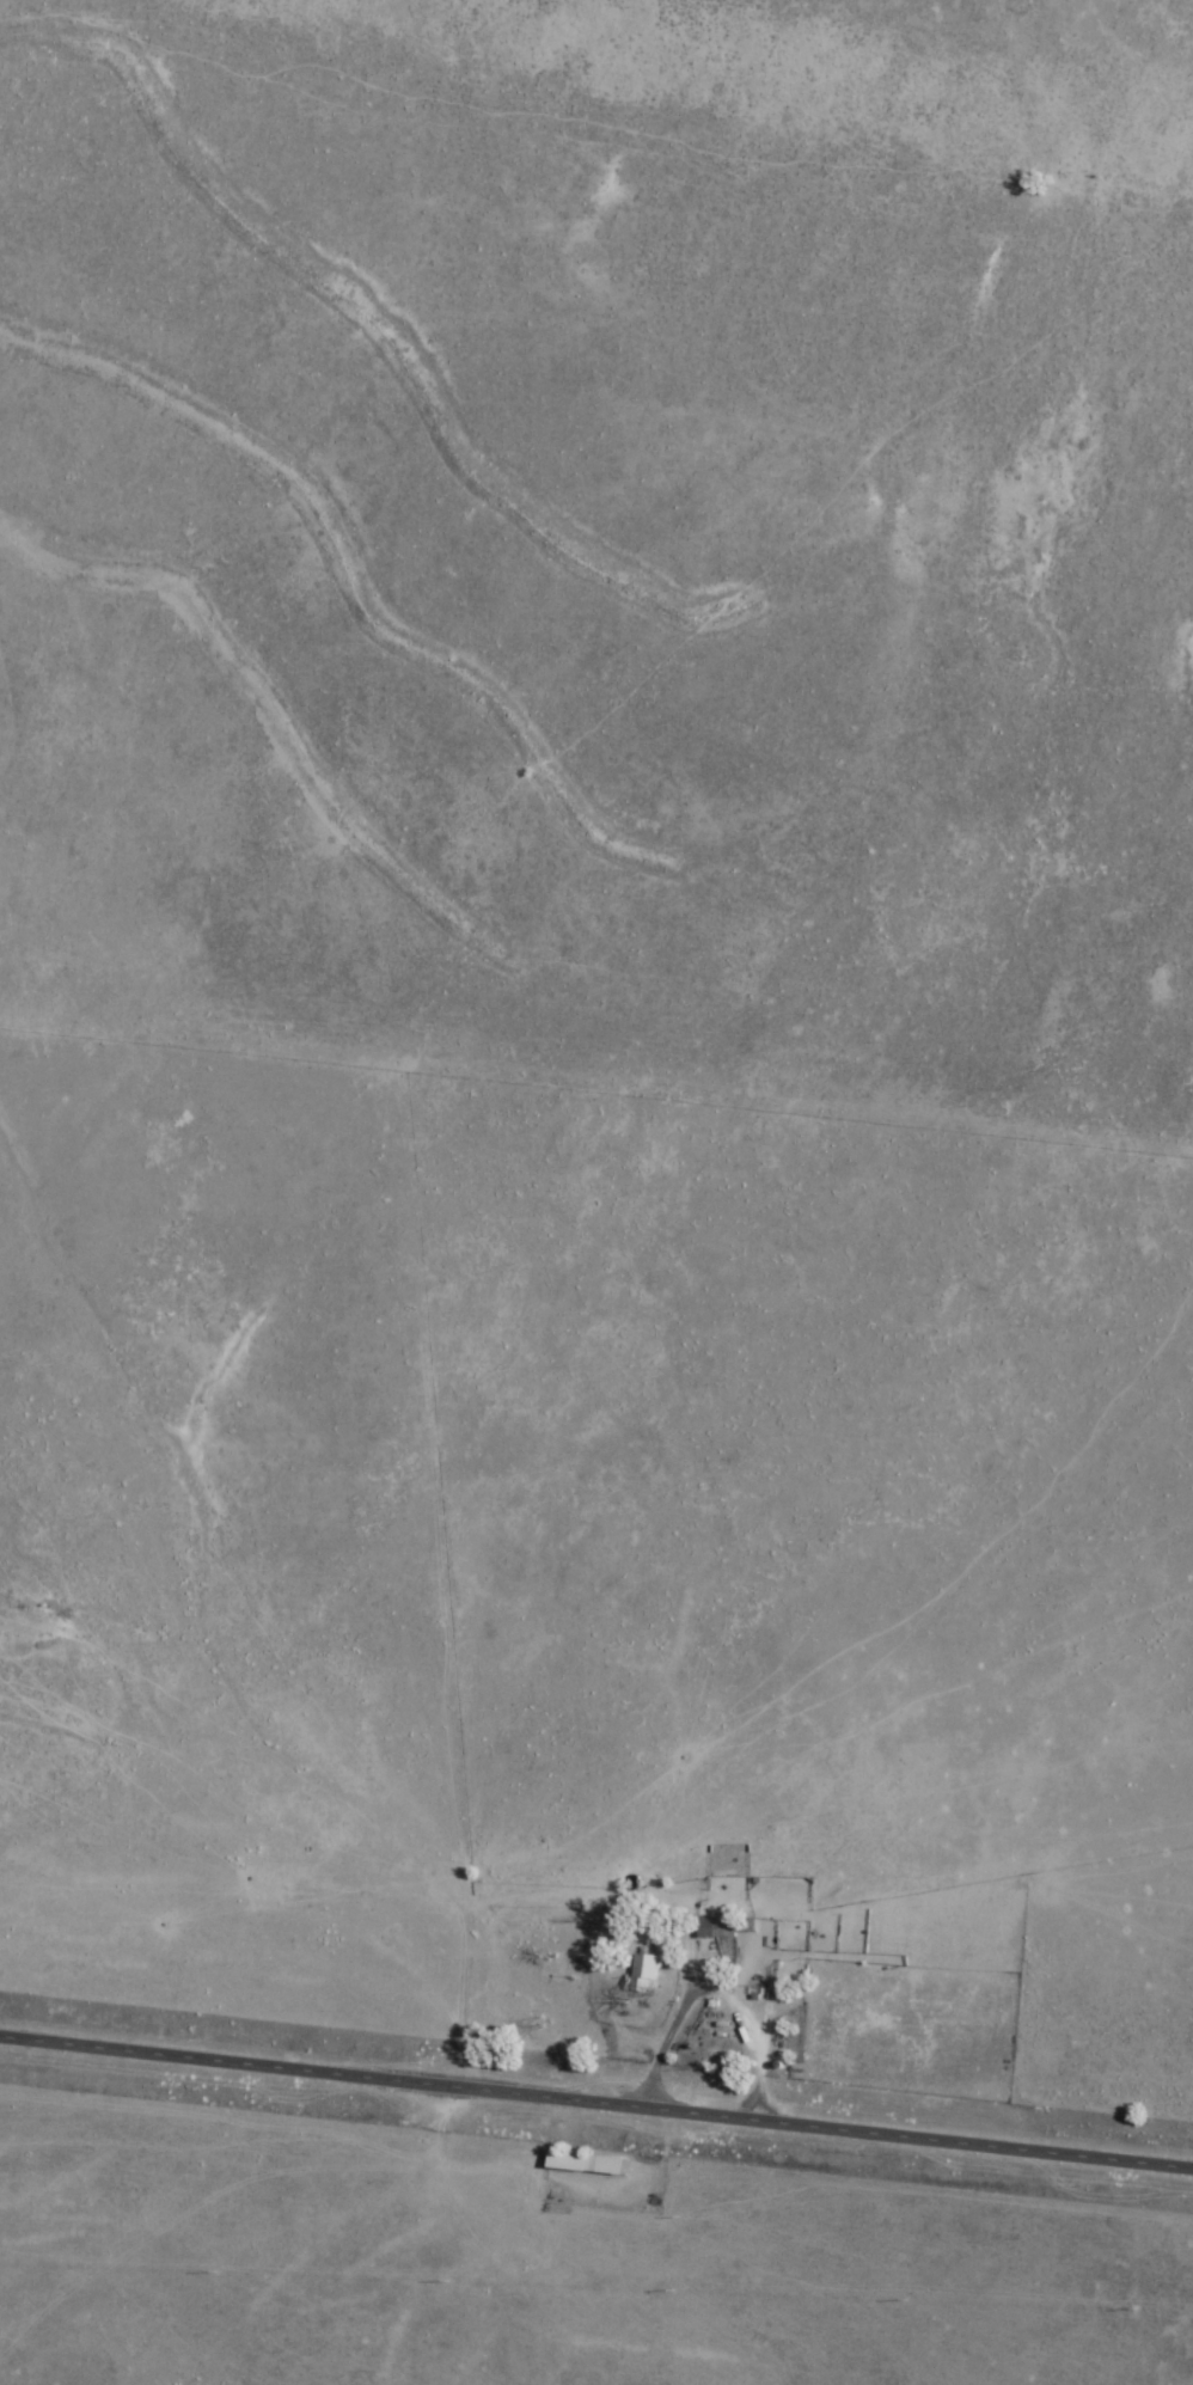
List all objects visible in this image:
road: (668, 2044)
road: (596, 2105)

